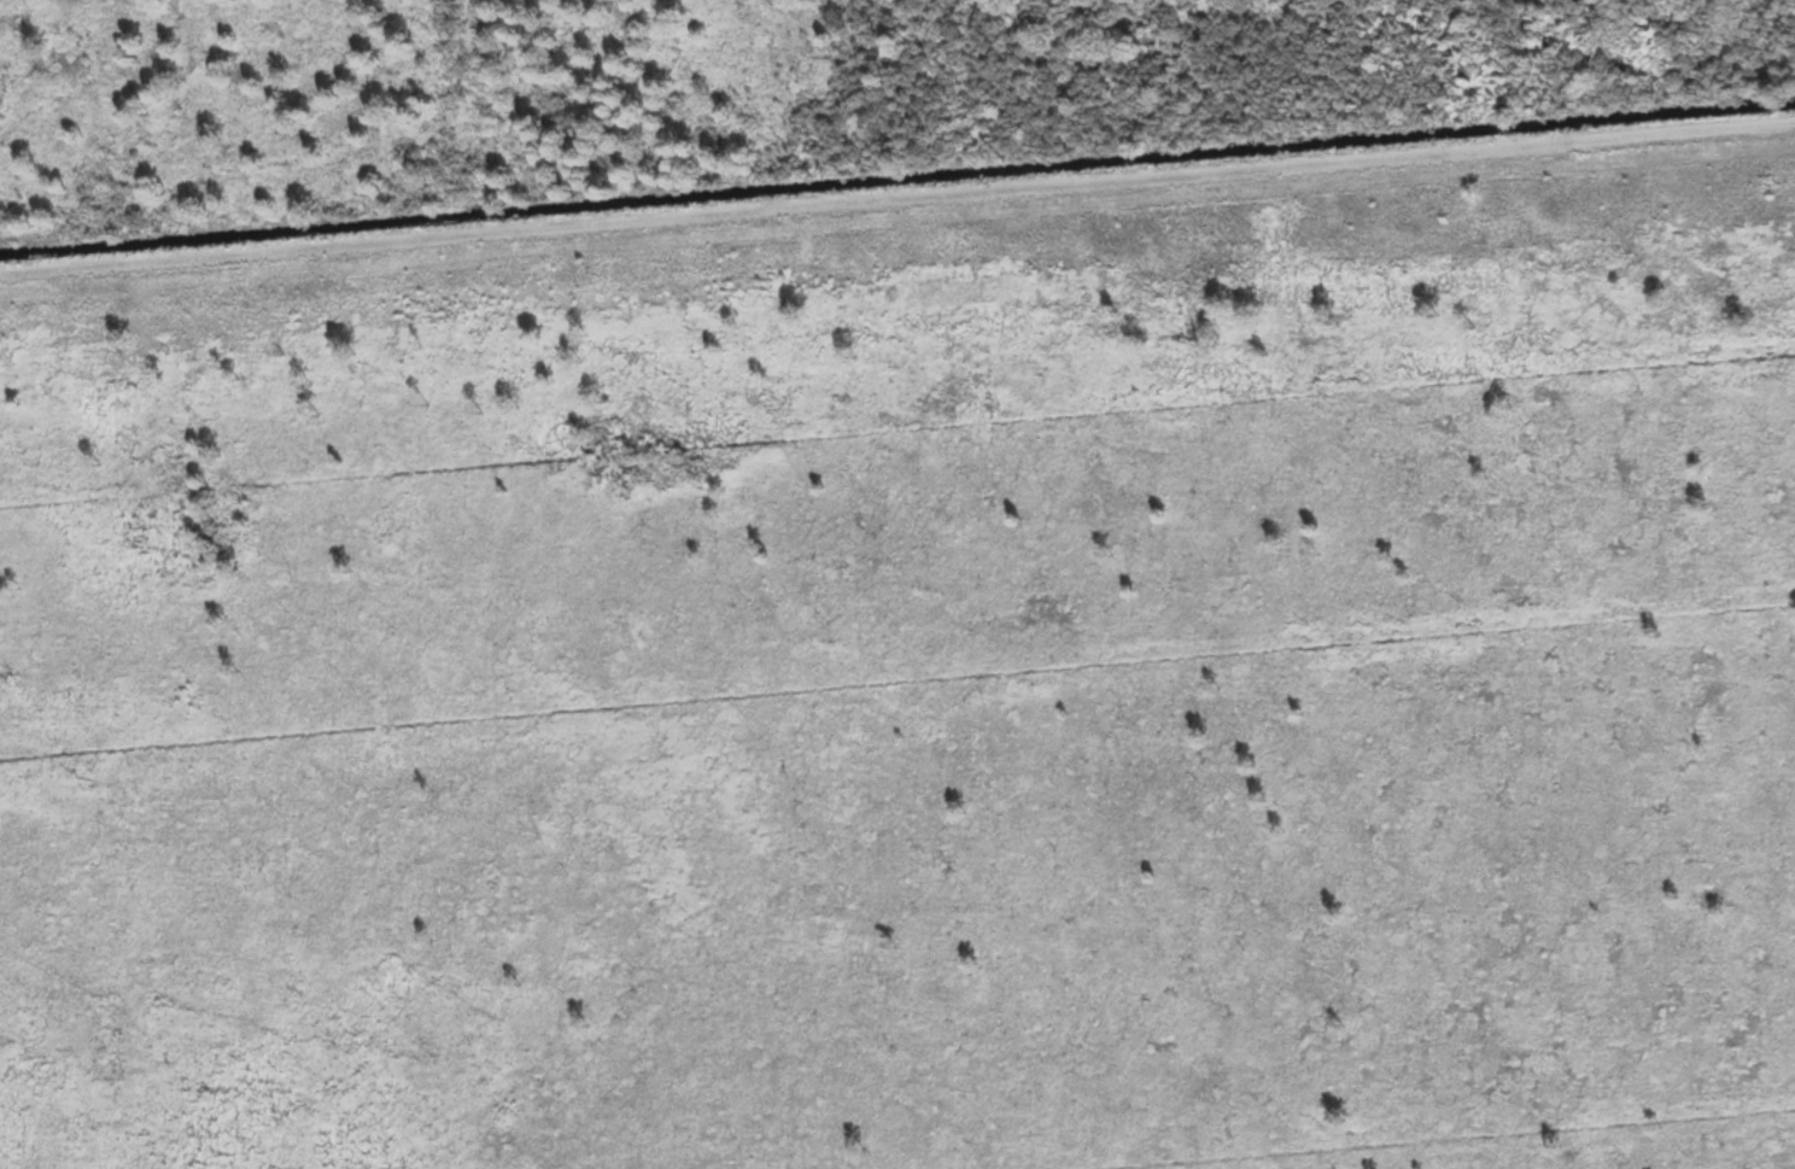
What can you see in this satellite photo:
road: (897, 199)

